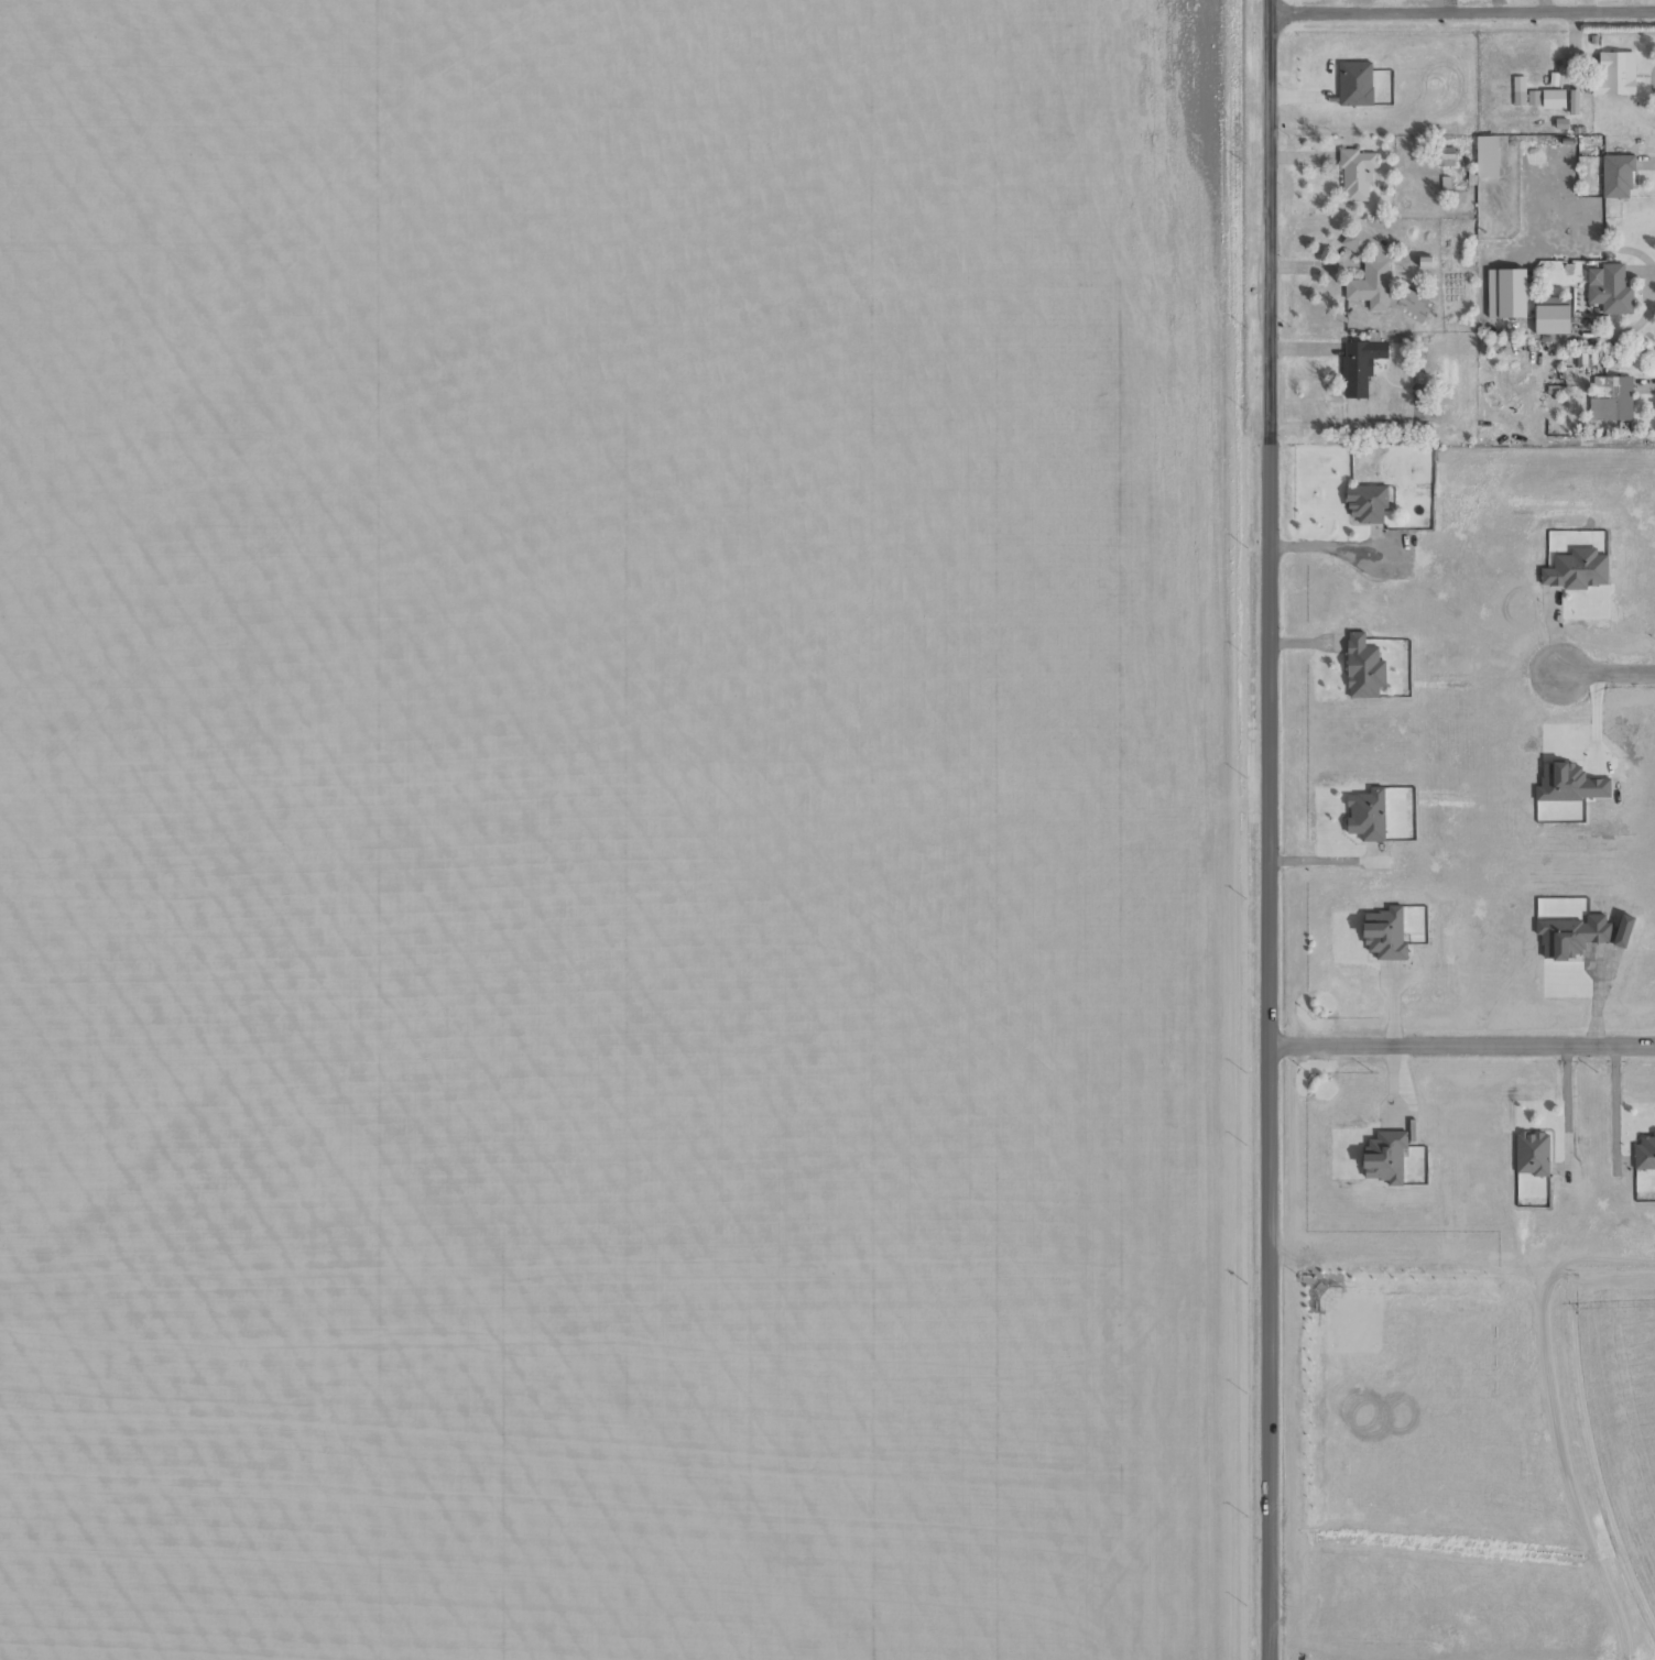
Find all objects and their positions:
road: (1462, 11)
building: (1615, 74)
building: (1354, 84)
building: (1518, 90)
building: (1533, 98)
building: (1553, 99)
building: (1574, 103)
building: (1445, 156)
building: (1357, 173)
building: (1616, 176)
road: (1270, 215)
building: (1370, 272)
building: (1609, 288)
building: (1505, 293)
building: (1551, 301)
building: (1413, 306)
building: (1551, 319)
building: (1611, 397)
building: (1365, 503)
building: (1577, 569)
building: (1363, 668)
road: (1603, 674)
building: (1367, 815)
building: (1386, 936)
road: (1270, 1046)
road: (1462, 1056)
building: (1644, 1153)
building: (1532, 1154)
building: (1385, 1156)

